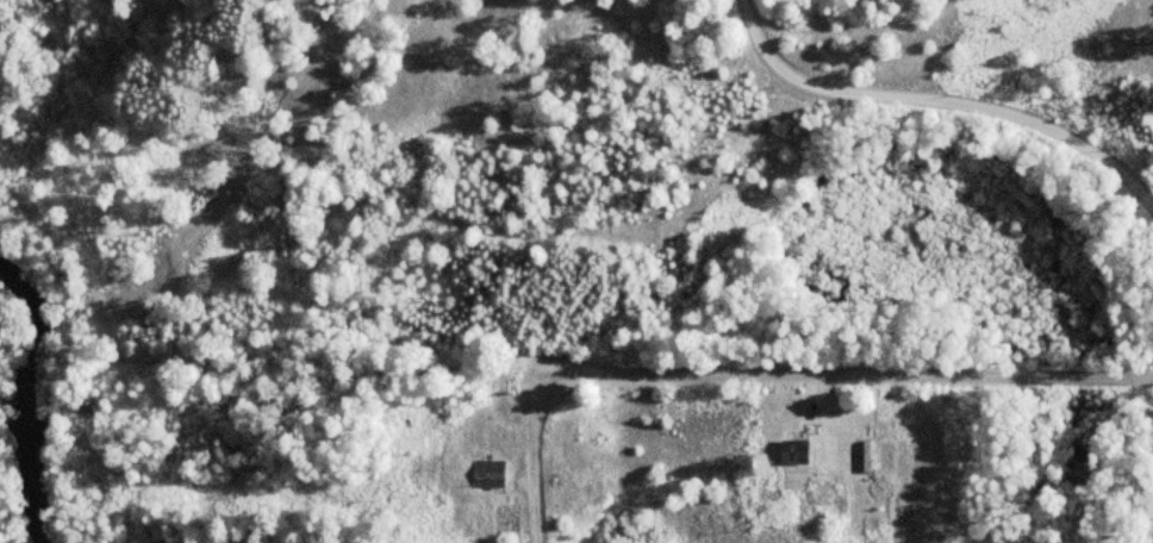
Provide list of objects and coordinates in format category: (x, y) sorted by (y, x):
road: (939, 102)
road: (836, 375)
river: (26, 400)
building: (791, 451)
building: (865, 456)
road: (534, 457)
building: (488, 473)

